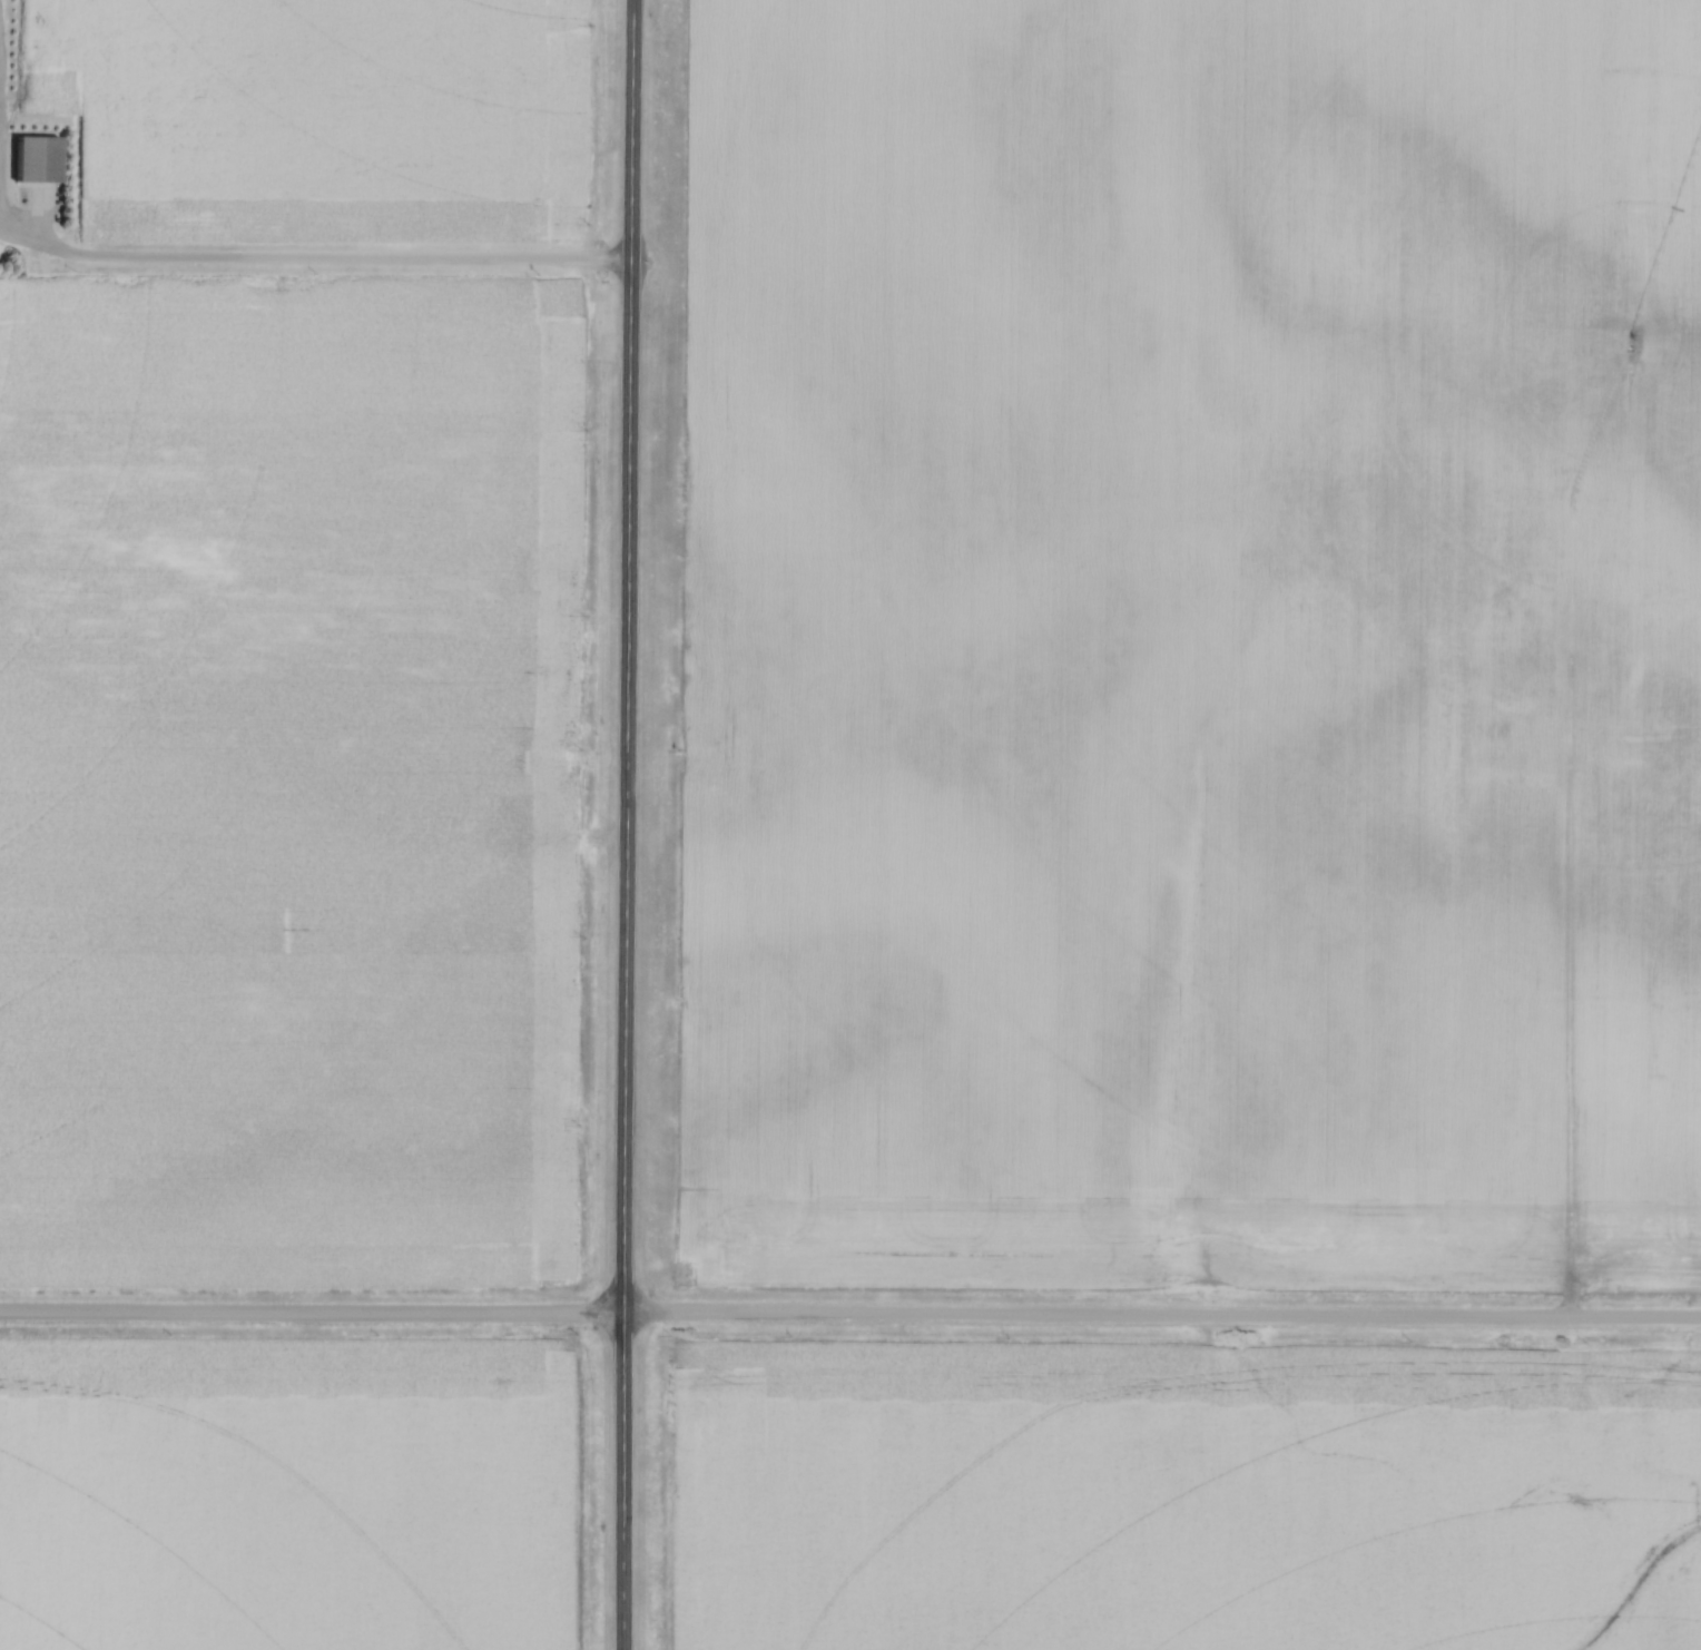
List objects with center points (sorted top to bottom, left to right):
building: (30, 159)
road: (0, 167)
road: (317, 258)
road: (630, 824)
road: (850, 1313)

